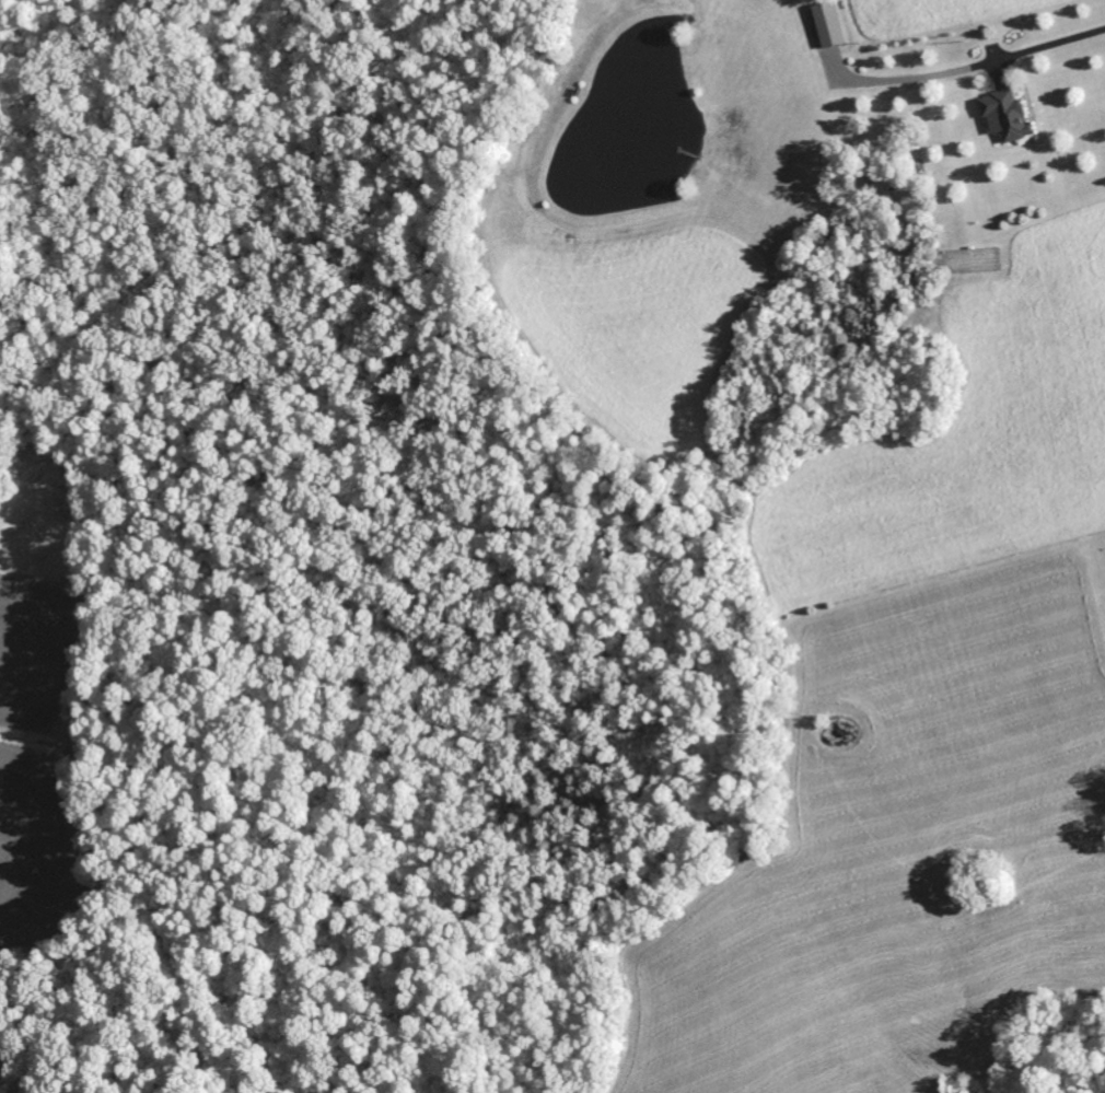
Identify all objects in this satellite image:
building: (833, 24)
building: (1011, 116)

